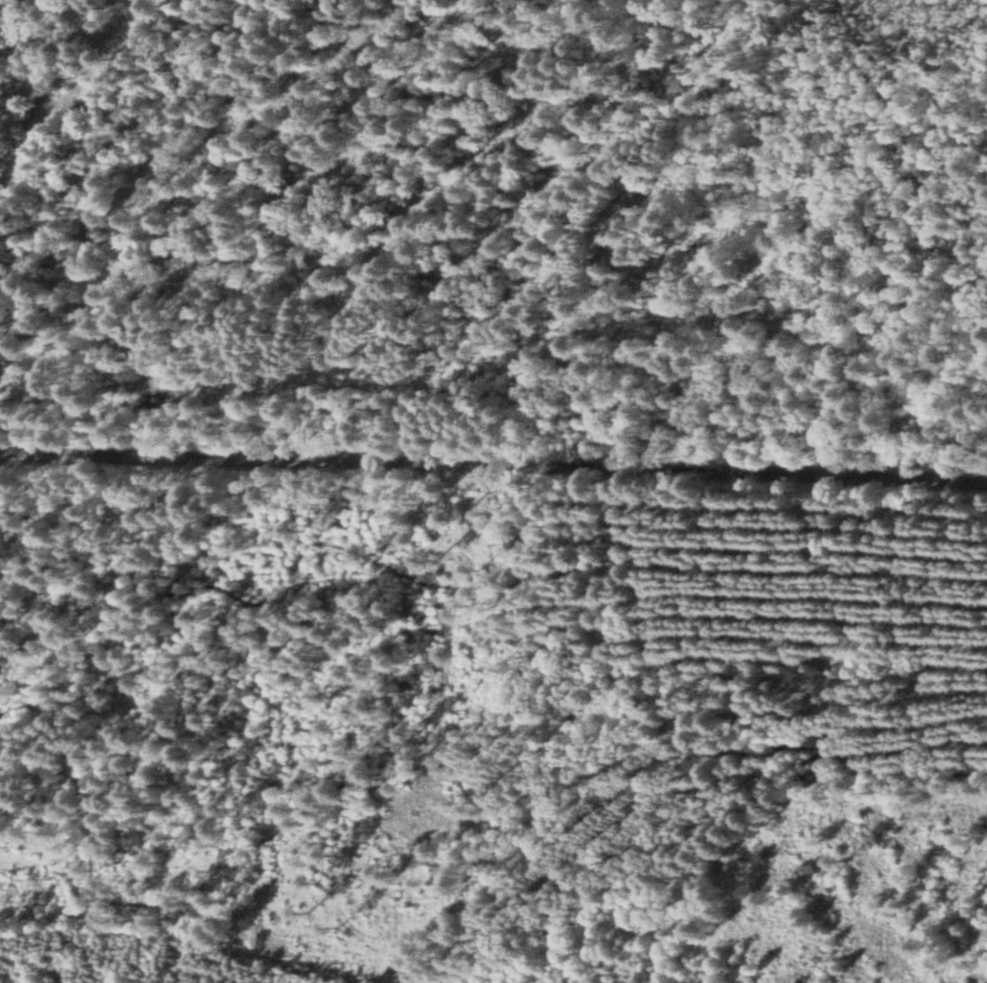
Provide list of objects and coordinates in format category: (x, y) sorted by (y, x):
road: (493, 460)
road: (485, 580)
road: (424, 769)
road: (728, 966)

